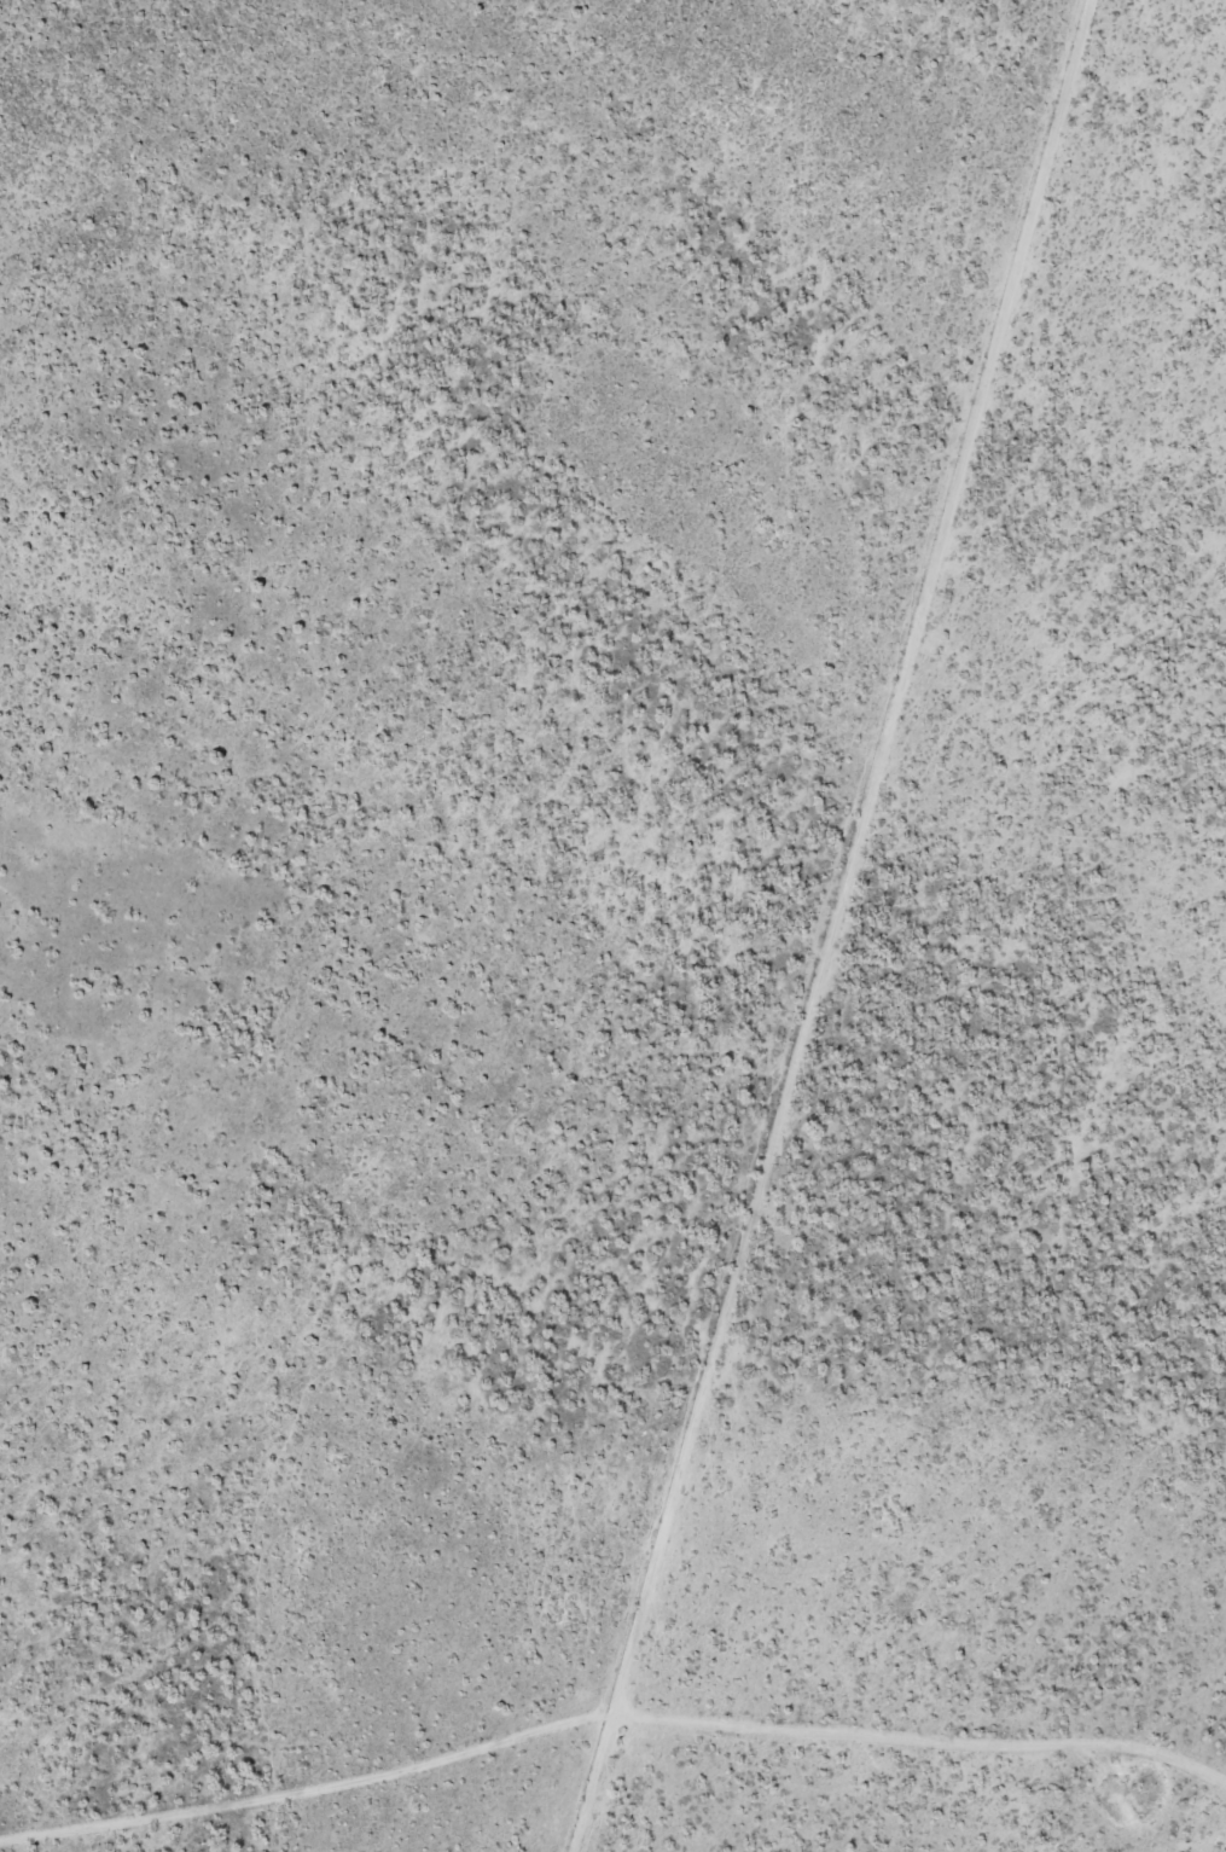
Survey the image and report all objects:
road: (875, 749)

